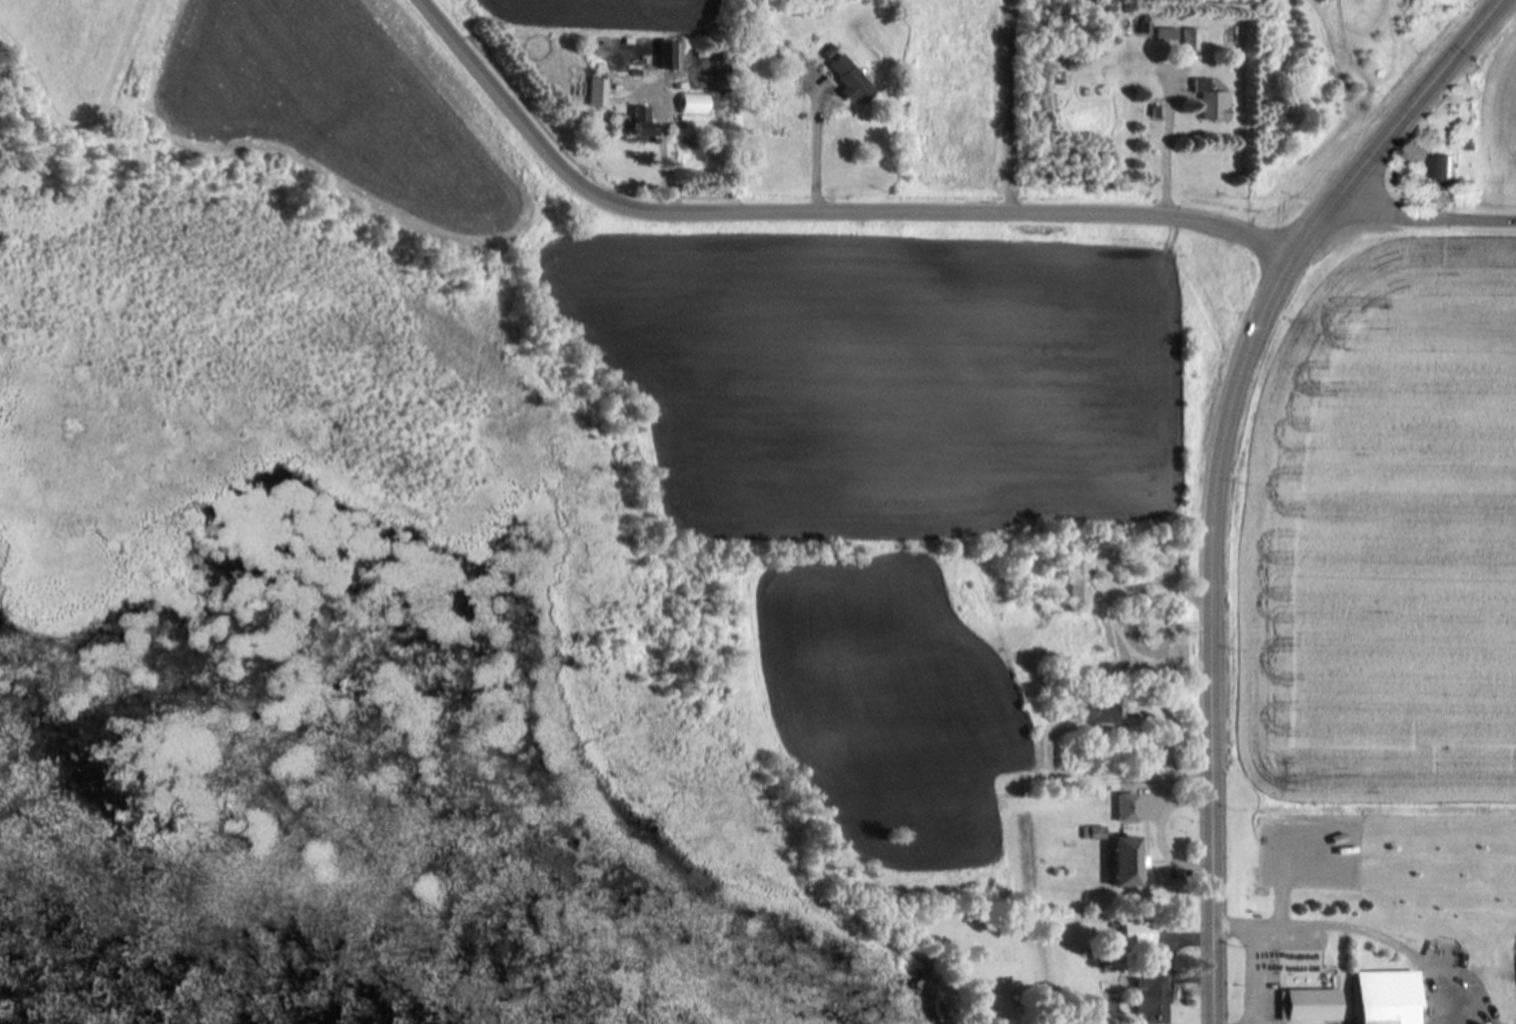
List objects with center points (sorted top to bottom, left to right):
building: (1165, 32)
building: (1190, 39)
building: (668, 56)
building: (853, 78)
building: (598, 92)
building: (1211, 100)
road: (1015, 102)
building: (644, 125)
road: (668, 142)
road: (1174, 144)
road: (1384, 144)
road: (826, 146)
building: (1442, 168)
road: (821, 206)
road: (1419, 216)
building: (1080, 583)
road: (1211, 654)
building: (1101, 712)
building: (1126, 860)
road: (1360, 928)
building: (1137, 934)
road: (1258, 971)
building: (1310, 994)
building: (1387, 996)
building: (1152, 998)

